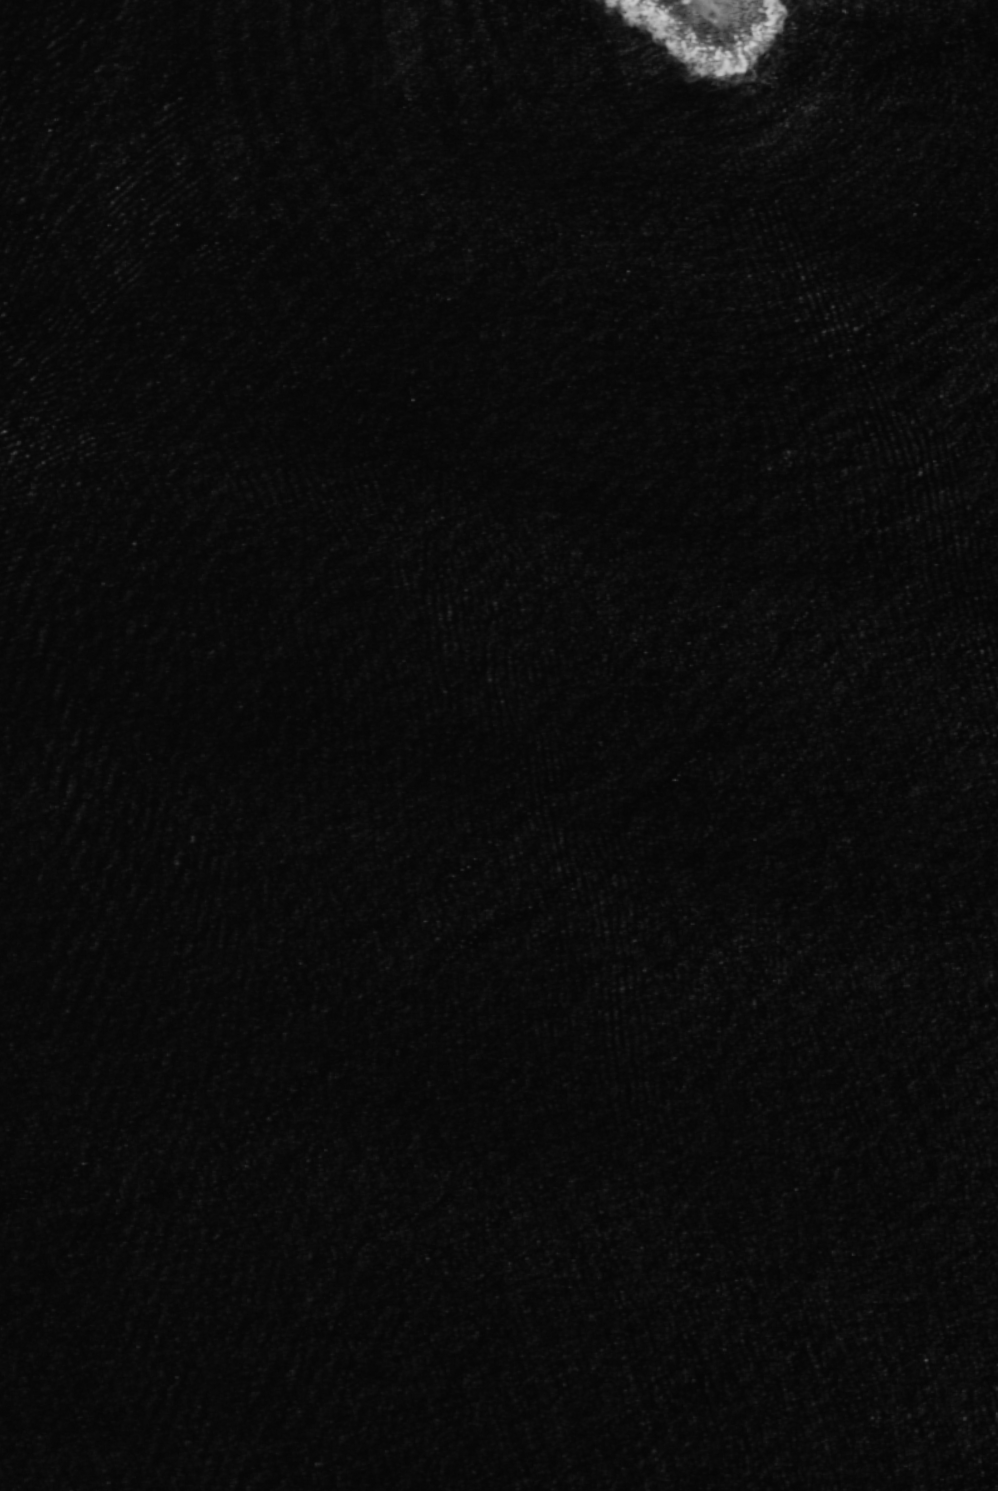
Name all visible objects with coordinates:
road: (709, 9)

